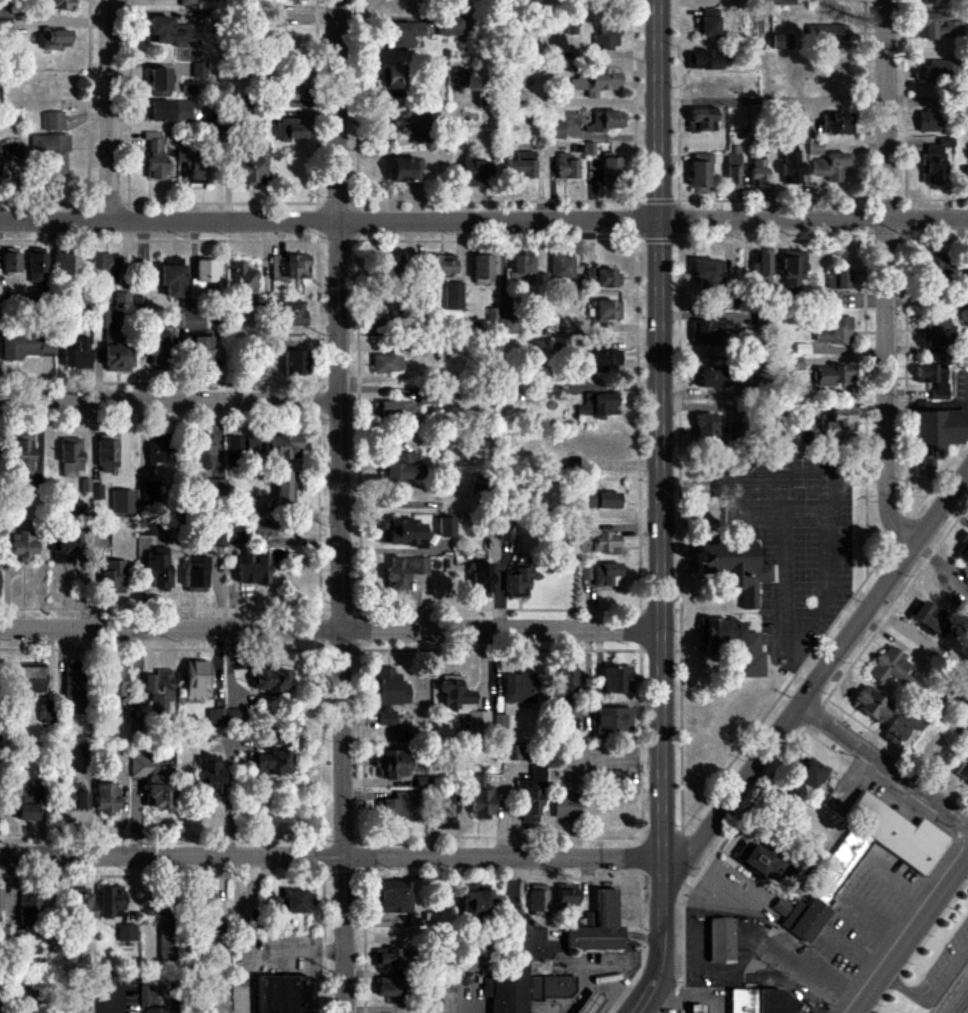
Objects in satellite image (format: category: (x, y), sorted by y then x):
building: (530, 1)
building: (930, 1)
building: (781, 2)
building: (187, 3)
building: (59, 4)
building: (709, 22)
building: (450, 25)
building: (570, 27)
building: (938, 27)
building: (167, 31)
building: (826, 33)
building: (401, 34)
building: (52, 38)
building: (606, 38)
building: (287, 42)
building: (780, 42)
building: (706, 60)
building: (198, 70)
building: (396, 76)
building: (159, 81)
building: (596, 82)
building: (512, 84)
building: (290, 91)
road: (771, 100)
road: (927, 101)
building: (166, 110)
road: (112, 111)
building: (702, 119)
building: (52, 120)
building: (605, 121)
building: (928, 121)
building: (837, 124)
building: (412, 125)
building: (556, 129)
building: (289, 130)
building: (589, 148)
building: (815, 148)
building: (12, 151)
building: (51, 152)
road: (423, 153)
building: (154, 154)
building: (935, 161)
building: (194, 162)
building: (522, 165)
building: (566, 167)
building: (791, 167)
building: (831, 167)
building: (248, 168)
building: (610, 169)
building: (405, 170)
building: (733, 171)
building: (476, 172)
building: (700, 173)
building: (758, 173)
building: (966, 176)
road: (813, 219)
road: (329, 223)
building: (11, 259)
building: (67, 263)
building: (393, 264)
building: (37, 265)
building: (441, 265)
building: (289, 266)
building: (562, 267)
building: (941, 267)
building: (106, 268)
building: (761, 268)
building: (792, 268)
building: (482, 269)
building: (522, 269)
building: (206, 271)
building: (967, 271)
building: (706, 273)
building: (172, 276)
road: (886, 277)
building: (604, 278)
building: (838, 279)
building: (243, 280)
building: (454, 296)
building: (121, 299)
building: (833, 300)
building: (728, 303)
building: (608, 311)
building: (292, 313)
building: (102, 319)
building: (192, 320)
building: (504, 323)
building: (377, 327)
building: (935, 331)
building: (709, 332)
building: (837, 332)
building: (26, 346)
building: (159, 349)
building: (802, 349)
building: (202, 351)
building: (76, 352)
building: (116, 353)
building: (604, 358)
building: (295, 363)
building: (388, 364)
building: (835, 376)
building: (710, 378)
building: (933, 379)
road: (171, 403)
building: (598, 405)
building: (394, 409)
building: (839, 422)
building: (710, 429)
building: (938, 433)
building: (242, 445)
building: (283, 447)
building: (159, 451)
building: (205, 452)
building: (23, 456)
building: (107, 456)
building: (71, 457)
building: (405, 468)
road: (812, 468)
building: (217, 486)
building: (283, 487)
building: (600, 500)
building: (122, 502)
road: (344, 506)
road: (660, 506)
road: (766, 508)
building: (147, 527)
building: (446, 527)
building: (269, 530)
building: (506, 531)
building: (402, 533)
building: (597, 543)
building: (23, 545)
building: (66, 548)
building: (962, 550)
road: (796, 564)
building: (159, 567)
building: (735, 568)
building: (253, 569)
building: (405, 571)
building: (585, 572)
building: (196, 574)
building: (607, 575)
building: (113, 576)
building: (481, 580)
building: (520, 582)
building: (930, 617)
road: (330, 629)
building: (736, 645)
road: (809, 646)
building: (893, 669)
road: (821, 676)
building: (31, 678)
building: (197, 679)
building: (272, 680)
building: (115, 681)
building: (614, 681)
building: (569, 682)
building: (71, 685)
building: (520, 688)
building: (159, 693)
building: (390, 694)
building: (462, 702)
building: (872, 704)
building: (47, 713)
building: (234, 715)
building: (215, 716)
building: (613, 720)
building: (898, 729)
building: (964, 731)
building: (272, 764)
building: (392, 765)
road: (884, 767)
building: (964, 772)
building: (810, 773)
building: (209, 776)
building: (615, 777)
building: (155, 781)
building: (423, 781)
building: (68, 791)
building: (25, 795)
building: (532, 796)
building: (107, 798)
building: (480, 798)
building: (82, 801)
building: (397, 807)
building: (566, 807)
building: (447, 811)
building: (27, 812)
building: (897, 832)
road: (331, 859)
building: (759, 861)
road: (898, 891)
building: (567, 897)
building: (395, 898)
building: (29, 900)
building: (539, 900)
building: (111, 901)
building: (271, 902)
building: (296, 903)
building: (479, 903)
building: (81, 904)
building: (781, 907)
building: (208, 908)
building: (156, 912)
building: (805, 920)
road: (830, 920)
road: (876, 922)
building: (599, 927)
parking lot: (859, 929)
building: (8, 933)
building: (127, 933)
road: (913, 936)
building: (718, 939)
building: (168, 944)
road: (851, 956)
building: (389, 958)
building: (469, 963)
parking lot: (938, 968)
road: (599, 982)
building: (387, 986)
building: (546, 987)
building: (505, 990)
road: (930, 991)
road: (822, 992)
building: (285, 994)
building: (146, 995)
railway: (957, 998)
building: (759, 1000)
building: (583, 1002)
railway: (963, 1006)
building: (694, 1007)
building: (156, 1010)
road: (640, 1010)
road: (561, 1011)

